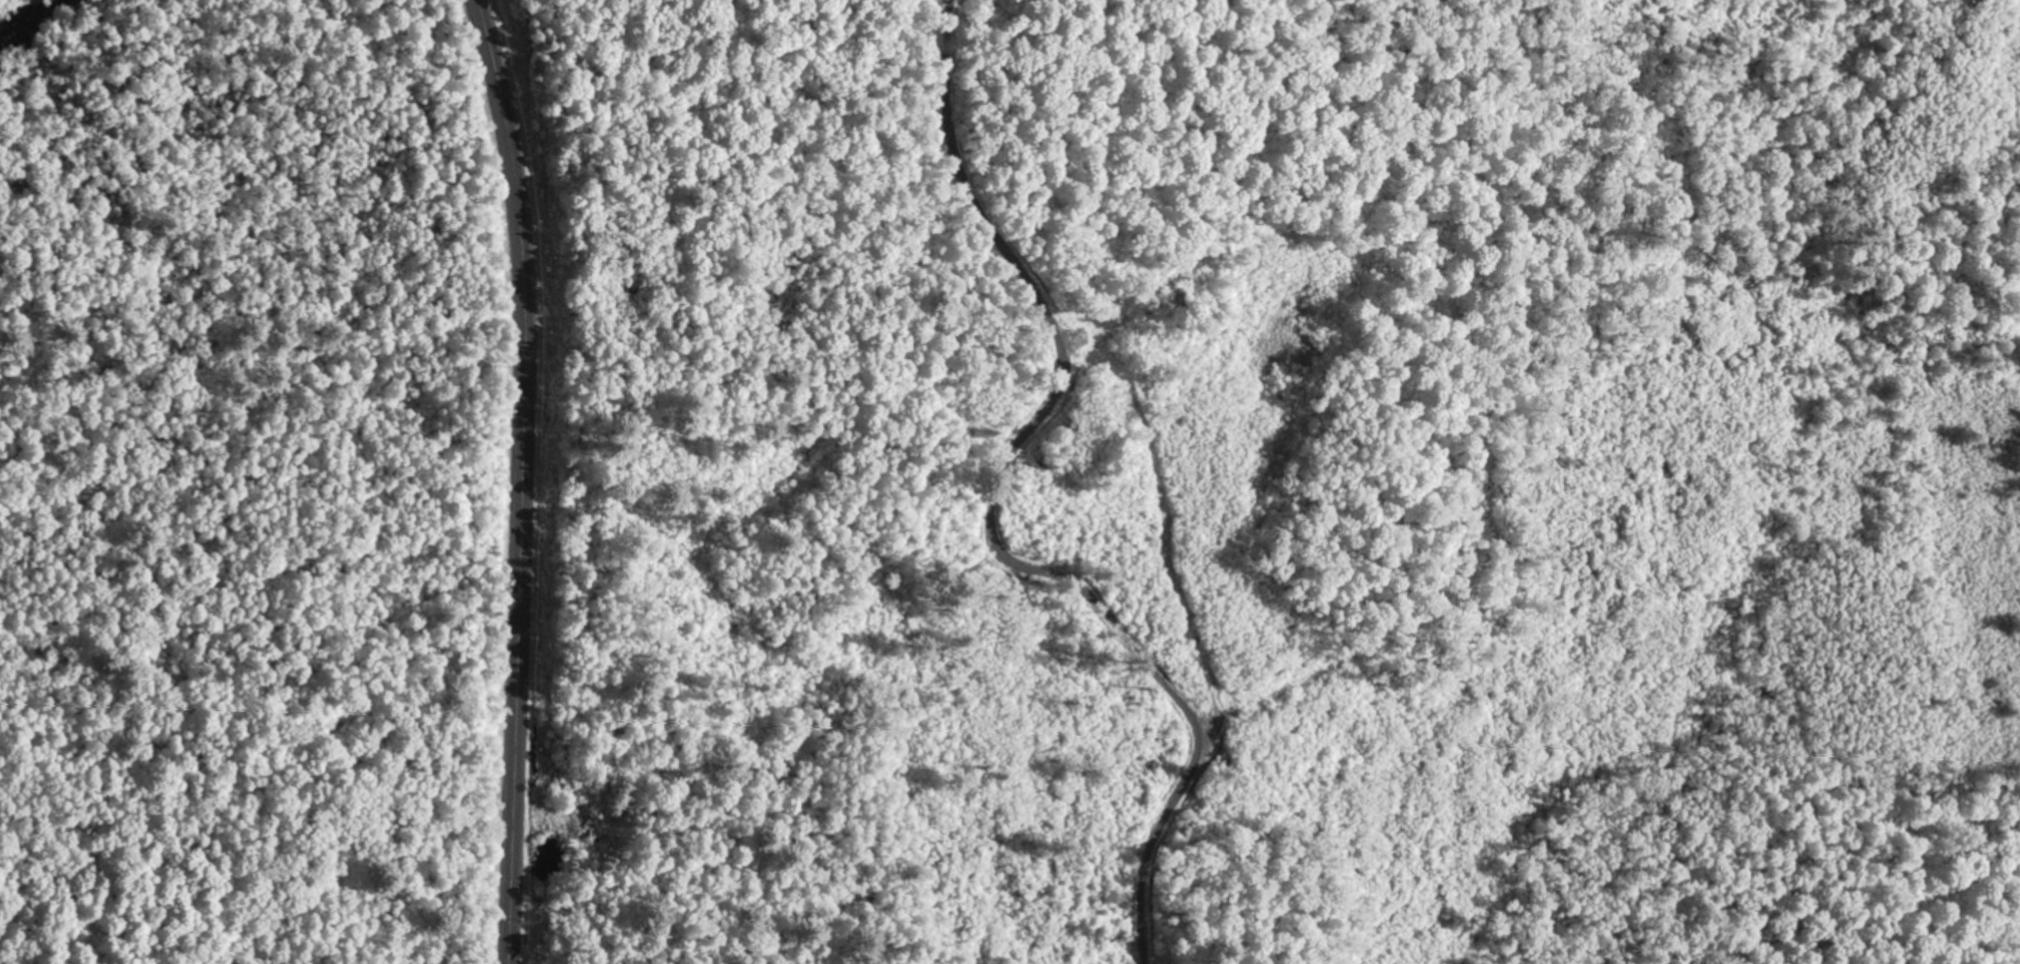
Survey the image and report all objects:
road: (520, 479)

